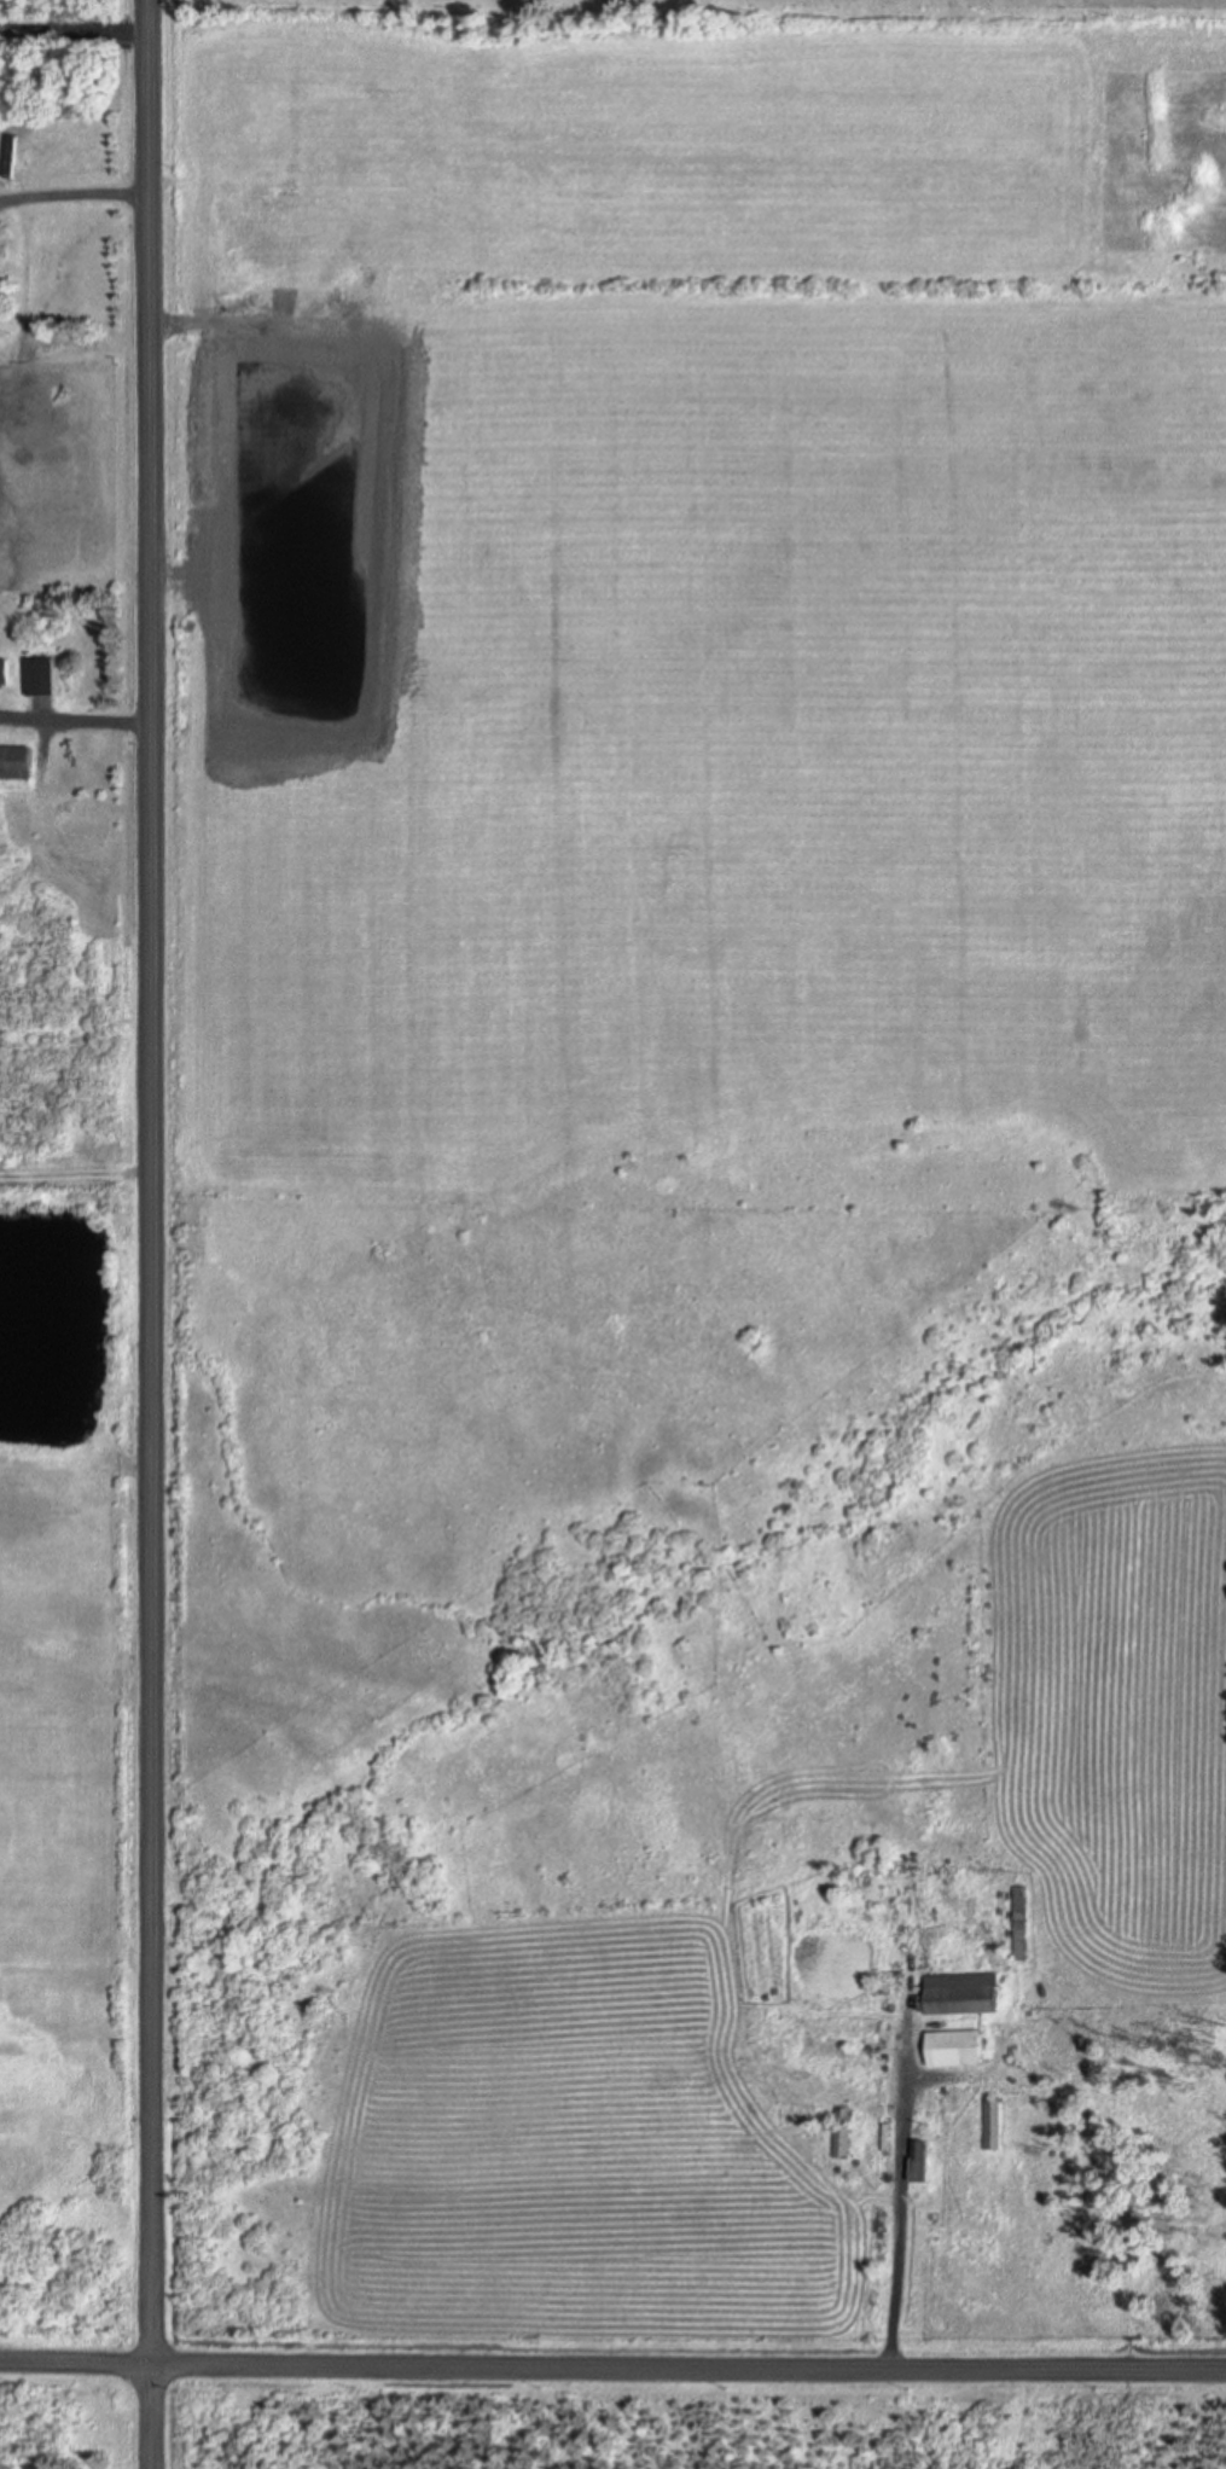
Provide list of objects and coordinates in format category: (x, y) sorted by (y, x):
road: (72, 196)
building: (4, 668)
building: (39, 673)
road: (93, 724)
building: (14, 763)
road: (150, 1233)
building: (1021, 1921)
building: (961, 1993)
building: (839, 2045)
building: (955, 2046)
building: (993, 2124)
building: (843, 2131)
building: (920, 2160)
road: (900, 2188)
road: (75, 2363)
road: (687, 2366)

